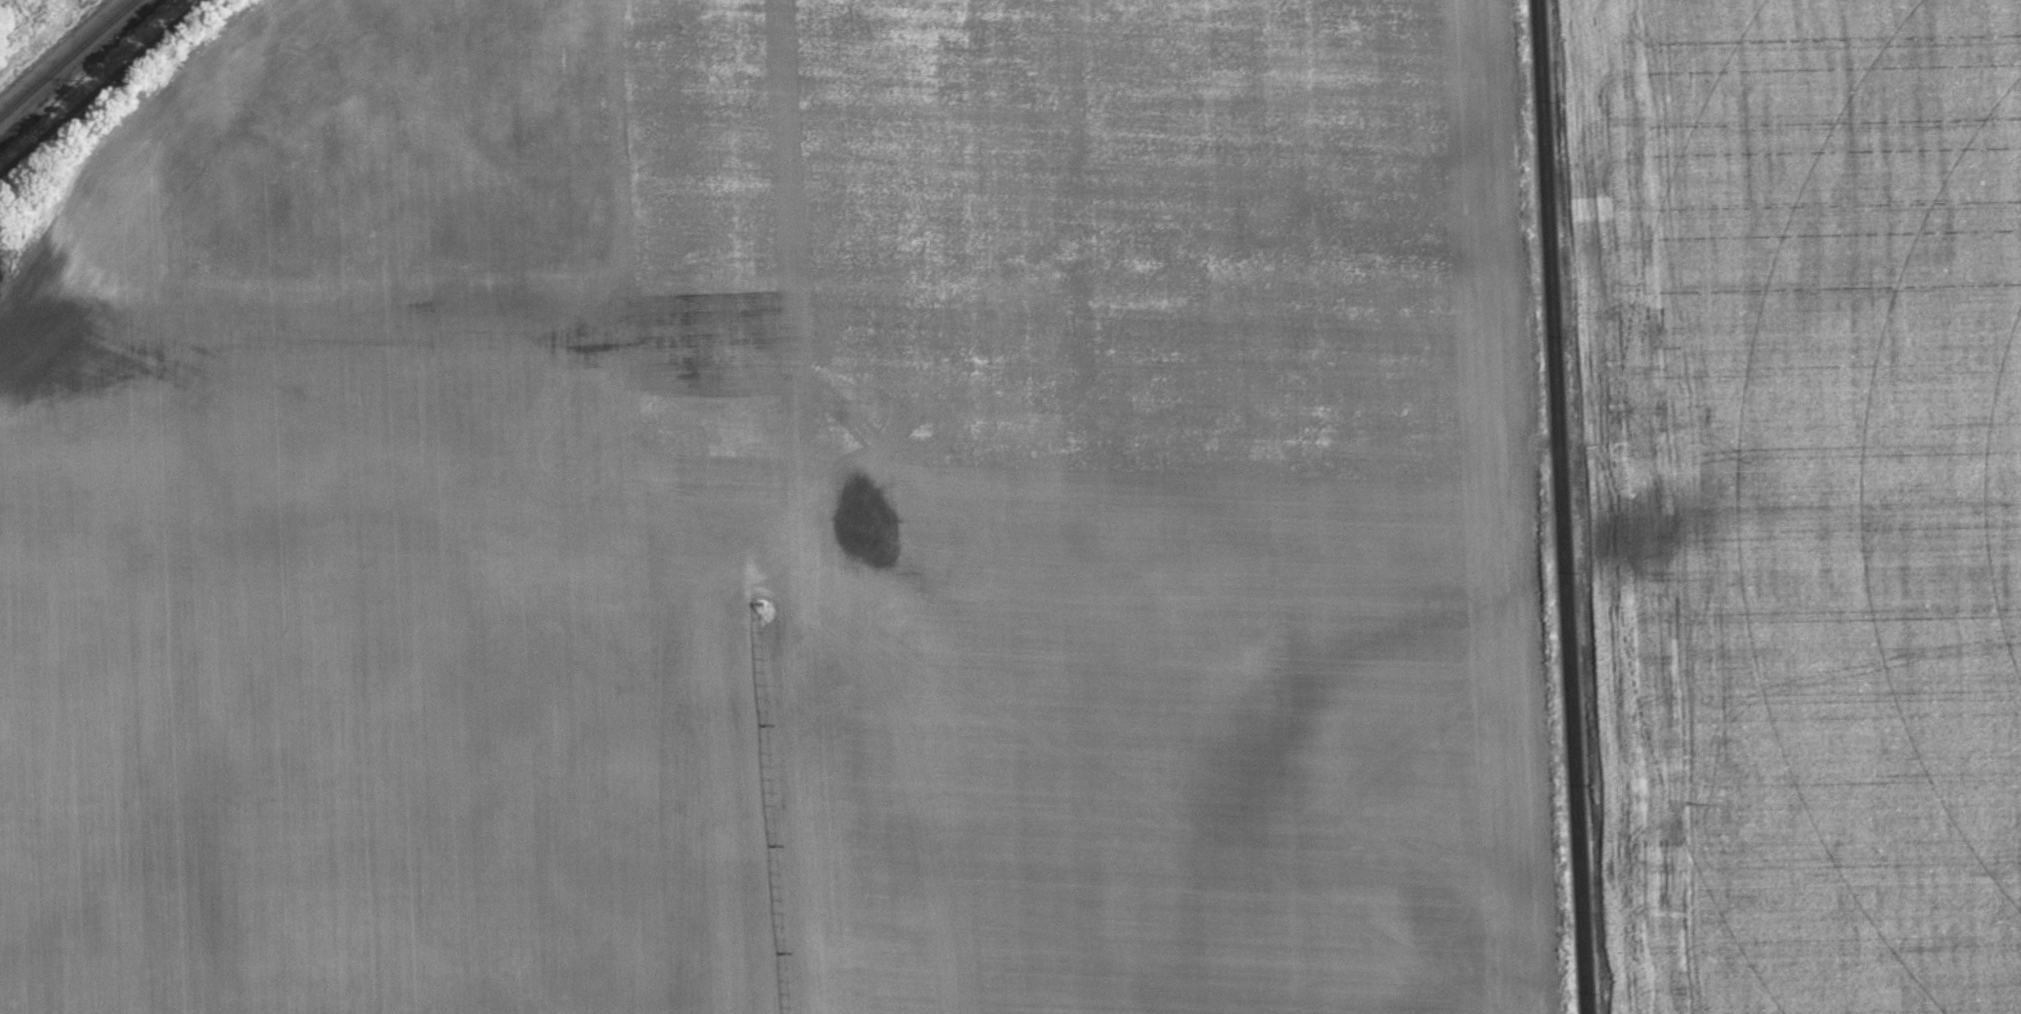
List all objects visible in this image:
railway: (69, 60)
road: (100, 87)
road: (1570, 506)

